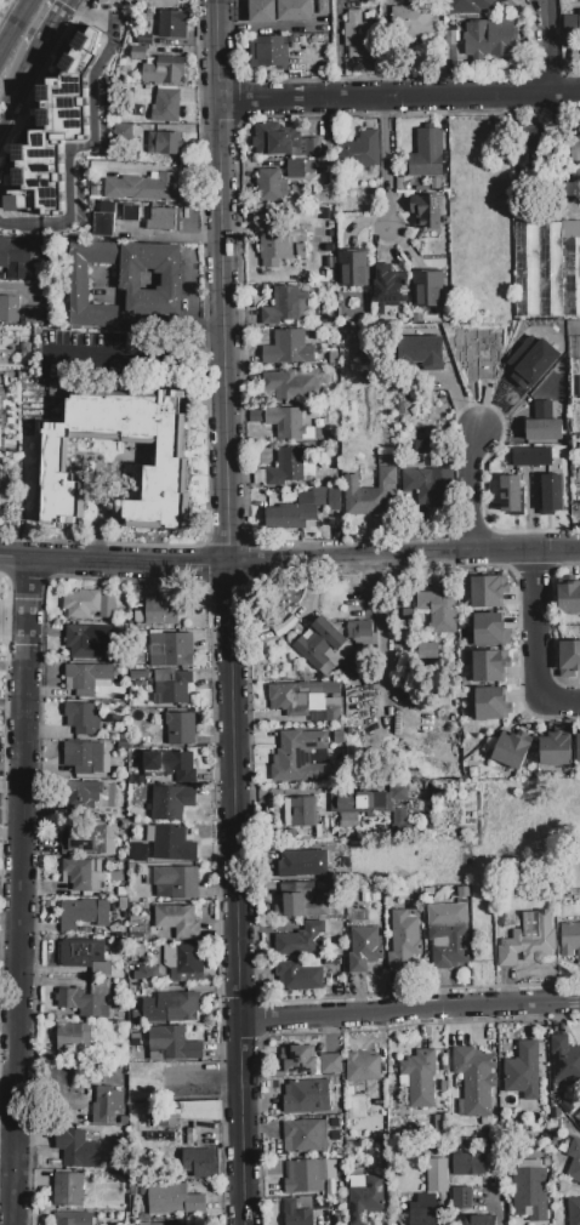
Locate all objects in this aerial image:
building: (142, 4)
building: (323, 6)
building: (466, 6)
building: (295, 10)
building: (262, 11)
building: (411, 22)
building: (102, 24)
building: (171, 24)
road: (51, 25)
road: (16, 28)
building: (579, 28)
building: (359, 36)
building: (146, 39)
building: (488, 39)
road: (546, 46)
building: (268, 53)
building: (138, 56)
building: (78, 57)
building: (163, 73)
road: (16, 85)
road: (398, 97)
building: (63, 99)
building: (160, 102)
road: (386, 108)
building: (123, 132)
building: (533, 138)
building: (45, 139)
building: (274, 139)
building: (165, 143)
building: (576, 149)
building: (358, 152)
building: (108, 153)
building: (427, 154)
building: (296, 169)
road: (387, 172)
building: (30, 180)
building: (272, 186)
building: (143, 187)
building: (322, 199)
building: (426, 211)
building: (131, 213)
building: (12, 217)
building: (73, 217)
building: (161, 221)
building: (103, 224)
building: (274, 251)
building: (19, 258)
building: (352, 268)
building: (546, 268)
building: (150, 279)
building: (78, 284)
building: (389, 287)
building: (428, 289)
building: (284, 304)
building: (10, 309)
building: (33, 315)
building: (574, 347)
building: (289, 349)
building: (419, 353)
road: (119, 355)
road: (211, 357)
building: (530, 360)
building: (290, 384)
building: (579, 387)
building: (1, 391)
building: (541, 409)
building: (280, 422)
building: (544, 429)
building: (0, 437)
building: (533, 457)
building: (52, 461)
building: (286, 468)
building: (427, 485)
building: (0, 488)
building: (373, 491)
road: (470, 491)
building: (552, 492)
building: (510, 494)
building: (326, 497)
building: (298, 519)
road: (290, 559)
building: (488, 592)
building: (569, 598)
building: (81, 604)
building: (107, 608)
building: (440, 609)
building: (161, 610)
road: (229, 612)
building: (359, 629)
building: (490, 629)
road: (536, 640)
building: (89, 642)
building: (322, 646)
building: (171, 650)
building: (568, 659)
building: (490, 666)
building: (89, 678)
building: (172, 685)
building: (306, 700)
building: (491, 703)
building: (84, 718)
building: (180, 729)
building: (578, 748)
building: (512, 750)
building: (556, 750)
building: (300, 757)
building: (86, 758)
building: (172, 765)
building: (398, 793)
building: (87, 798)
building: (360, 802)
building: (171, 803)
building: (300, 811)
building: (349, 821)
building: (78, 838)
building: (171, 843)
building: (141, 853)
building: (302, 864)
building: (83, 874)
building: (176, 882)
road: (23, 893)
building: (297, 901)
building: (85, 915)
building: (175, 919)
building: (448, 935)
building: (530, 940)
building: (570, 940)
building: (300, 941)
building: (404, 941)
building: (364, 950)
building: (138, 953)
building: (84, 956)
building: (182, 958)
building: (147, 974)
building: (298, 976)
building: (83, 1003)
building: (167, 1007)
road: (410, 1013)
building: (74, 1035)
building: (174, 1043)
building: (564, 1060)
building: (300, 1061)
building: (331, 1062)
building: (362, 1066)
building: (522, 1075)
building: (420, 1078)
building: (474, 1081)
building: (307, 1096)
building: (106, 1105)
building: (194, 1111)
building: (579, 1124)
building: (306, 1135)
building: (78, 1150)
building: (574, 1162)
building: (200, 1163)
building: (468, 1164)
building: (438, 1175)
building: (305, 1176)
building: (530, 1189)
building: (72, 1191)
building: (365, 1198)
building: (174, 1200)
building: (461, 1200)
building: (423, 1210)
building: (574, 1212)
building: (296, 1214)
building: (72, 1218)
building: (482, 1220)
building: (161, 1224)

